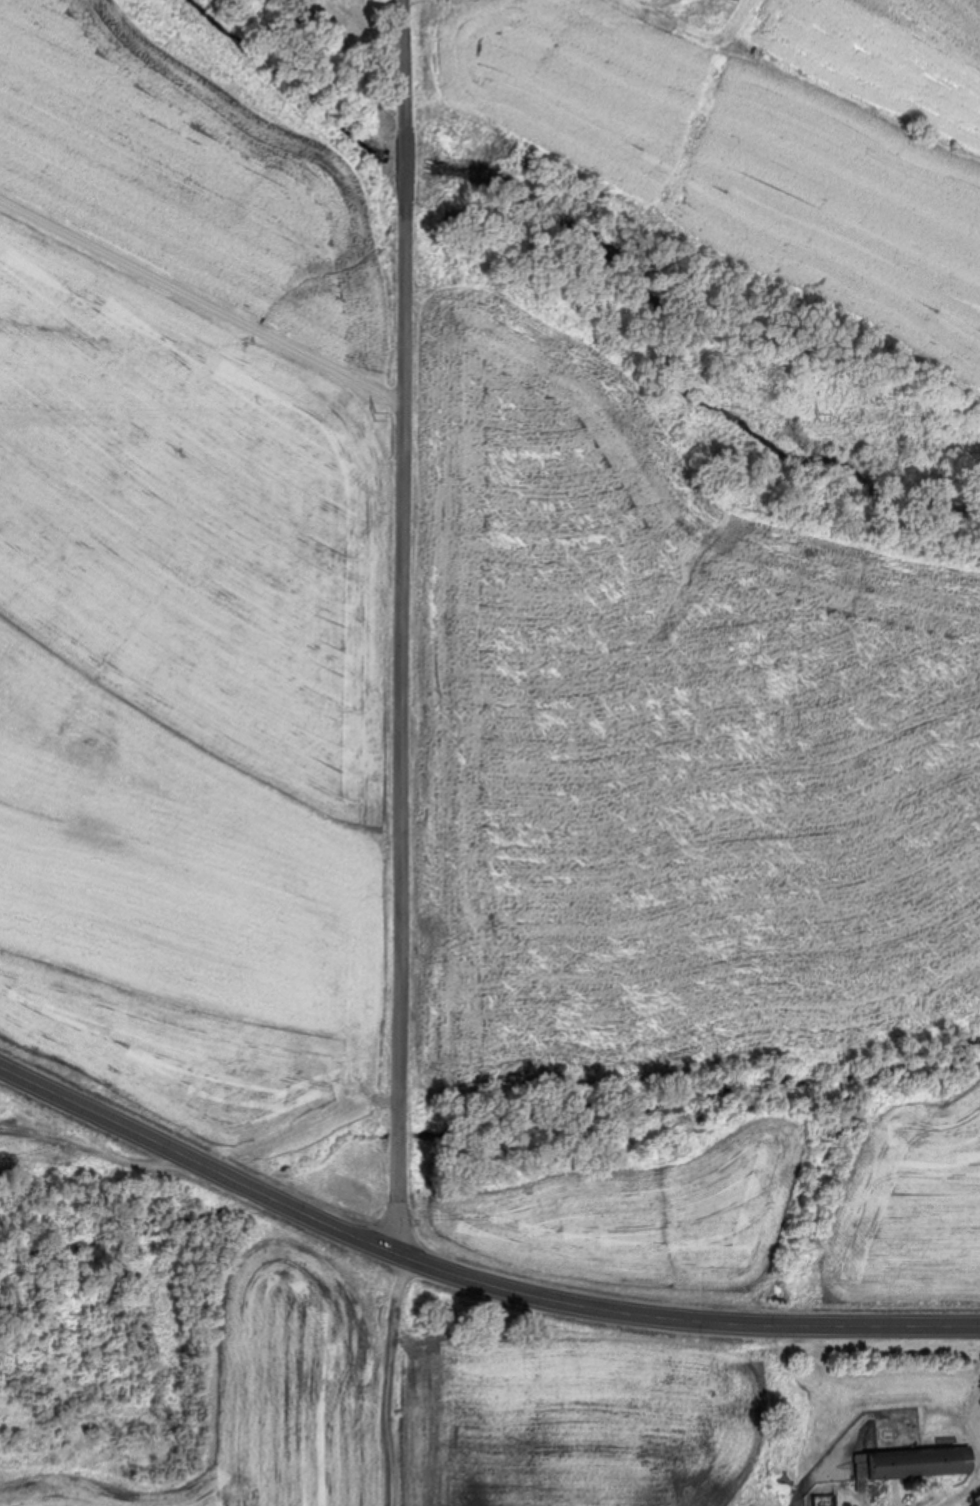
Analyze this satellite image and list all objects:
road: (196, 297)
road: (390, 625)
road: (468, 1278)
building: (907, 1464)
road: (952, 1483)
building: (822, 1500)

